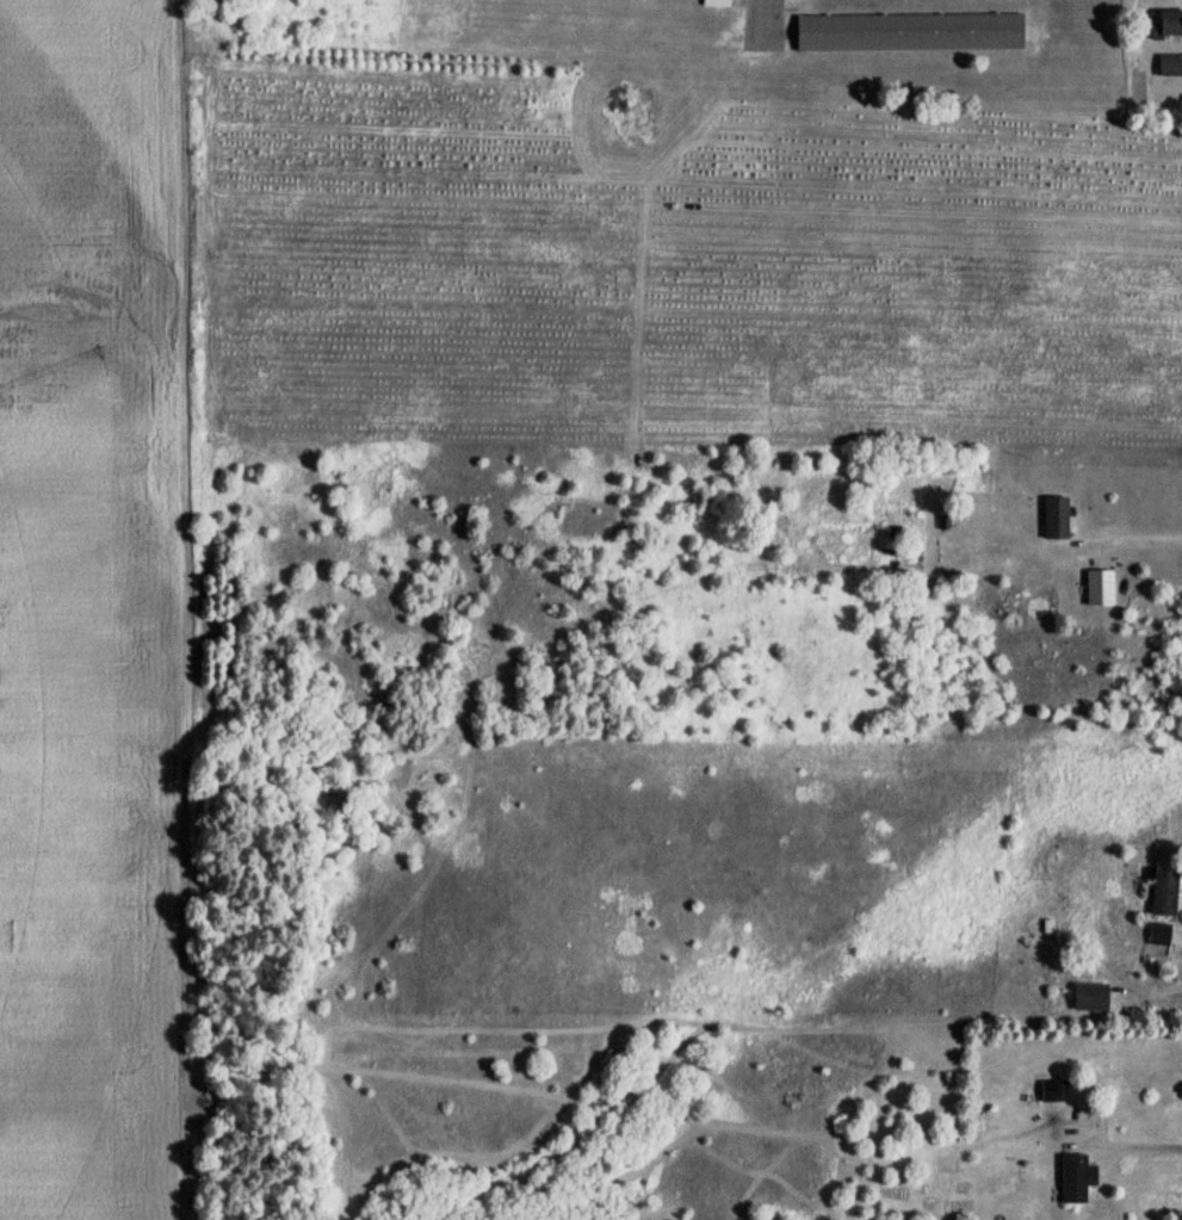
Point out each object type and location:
building: (719, 2)
road: (759, 2)
building: (1170, 24)
building: (911, 31)
building: (1171, 66)
building: (1054, 514)
road: (1132, 547)
building: (1099, 586)
building: (1162, 888)
building: (1157, 933)
building: (1089, 995)
road: (1131, 1147)
building: (1073, 1176)

